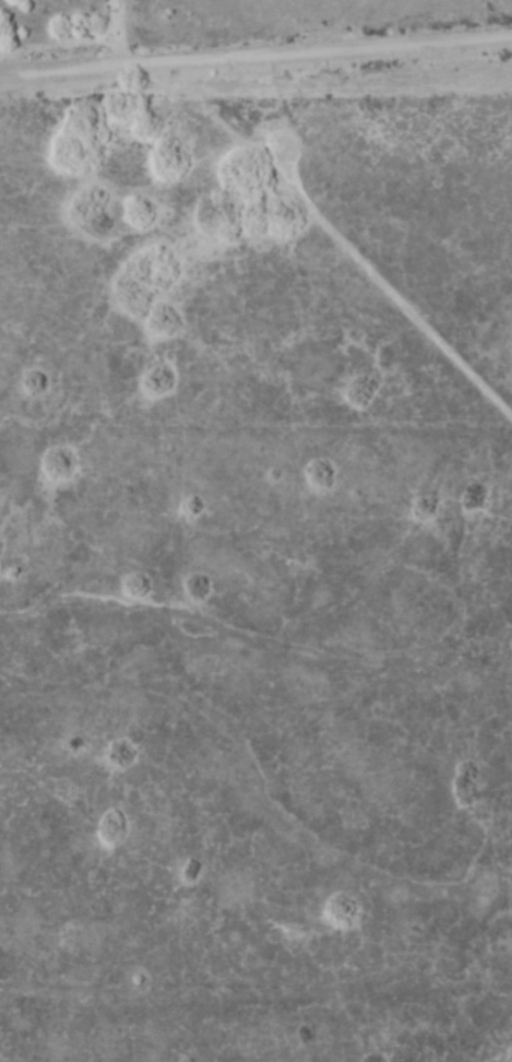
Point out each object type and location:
road: (255, 47)
road: (405, 302)

